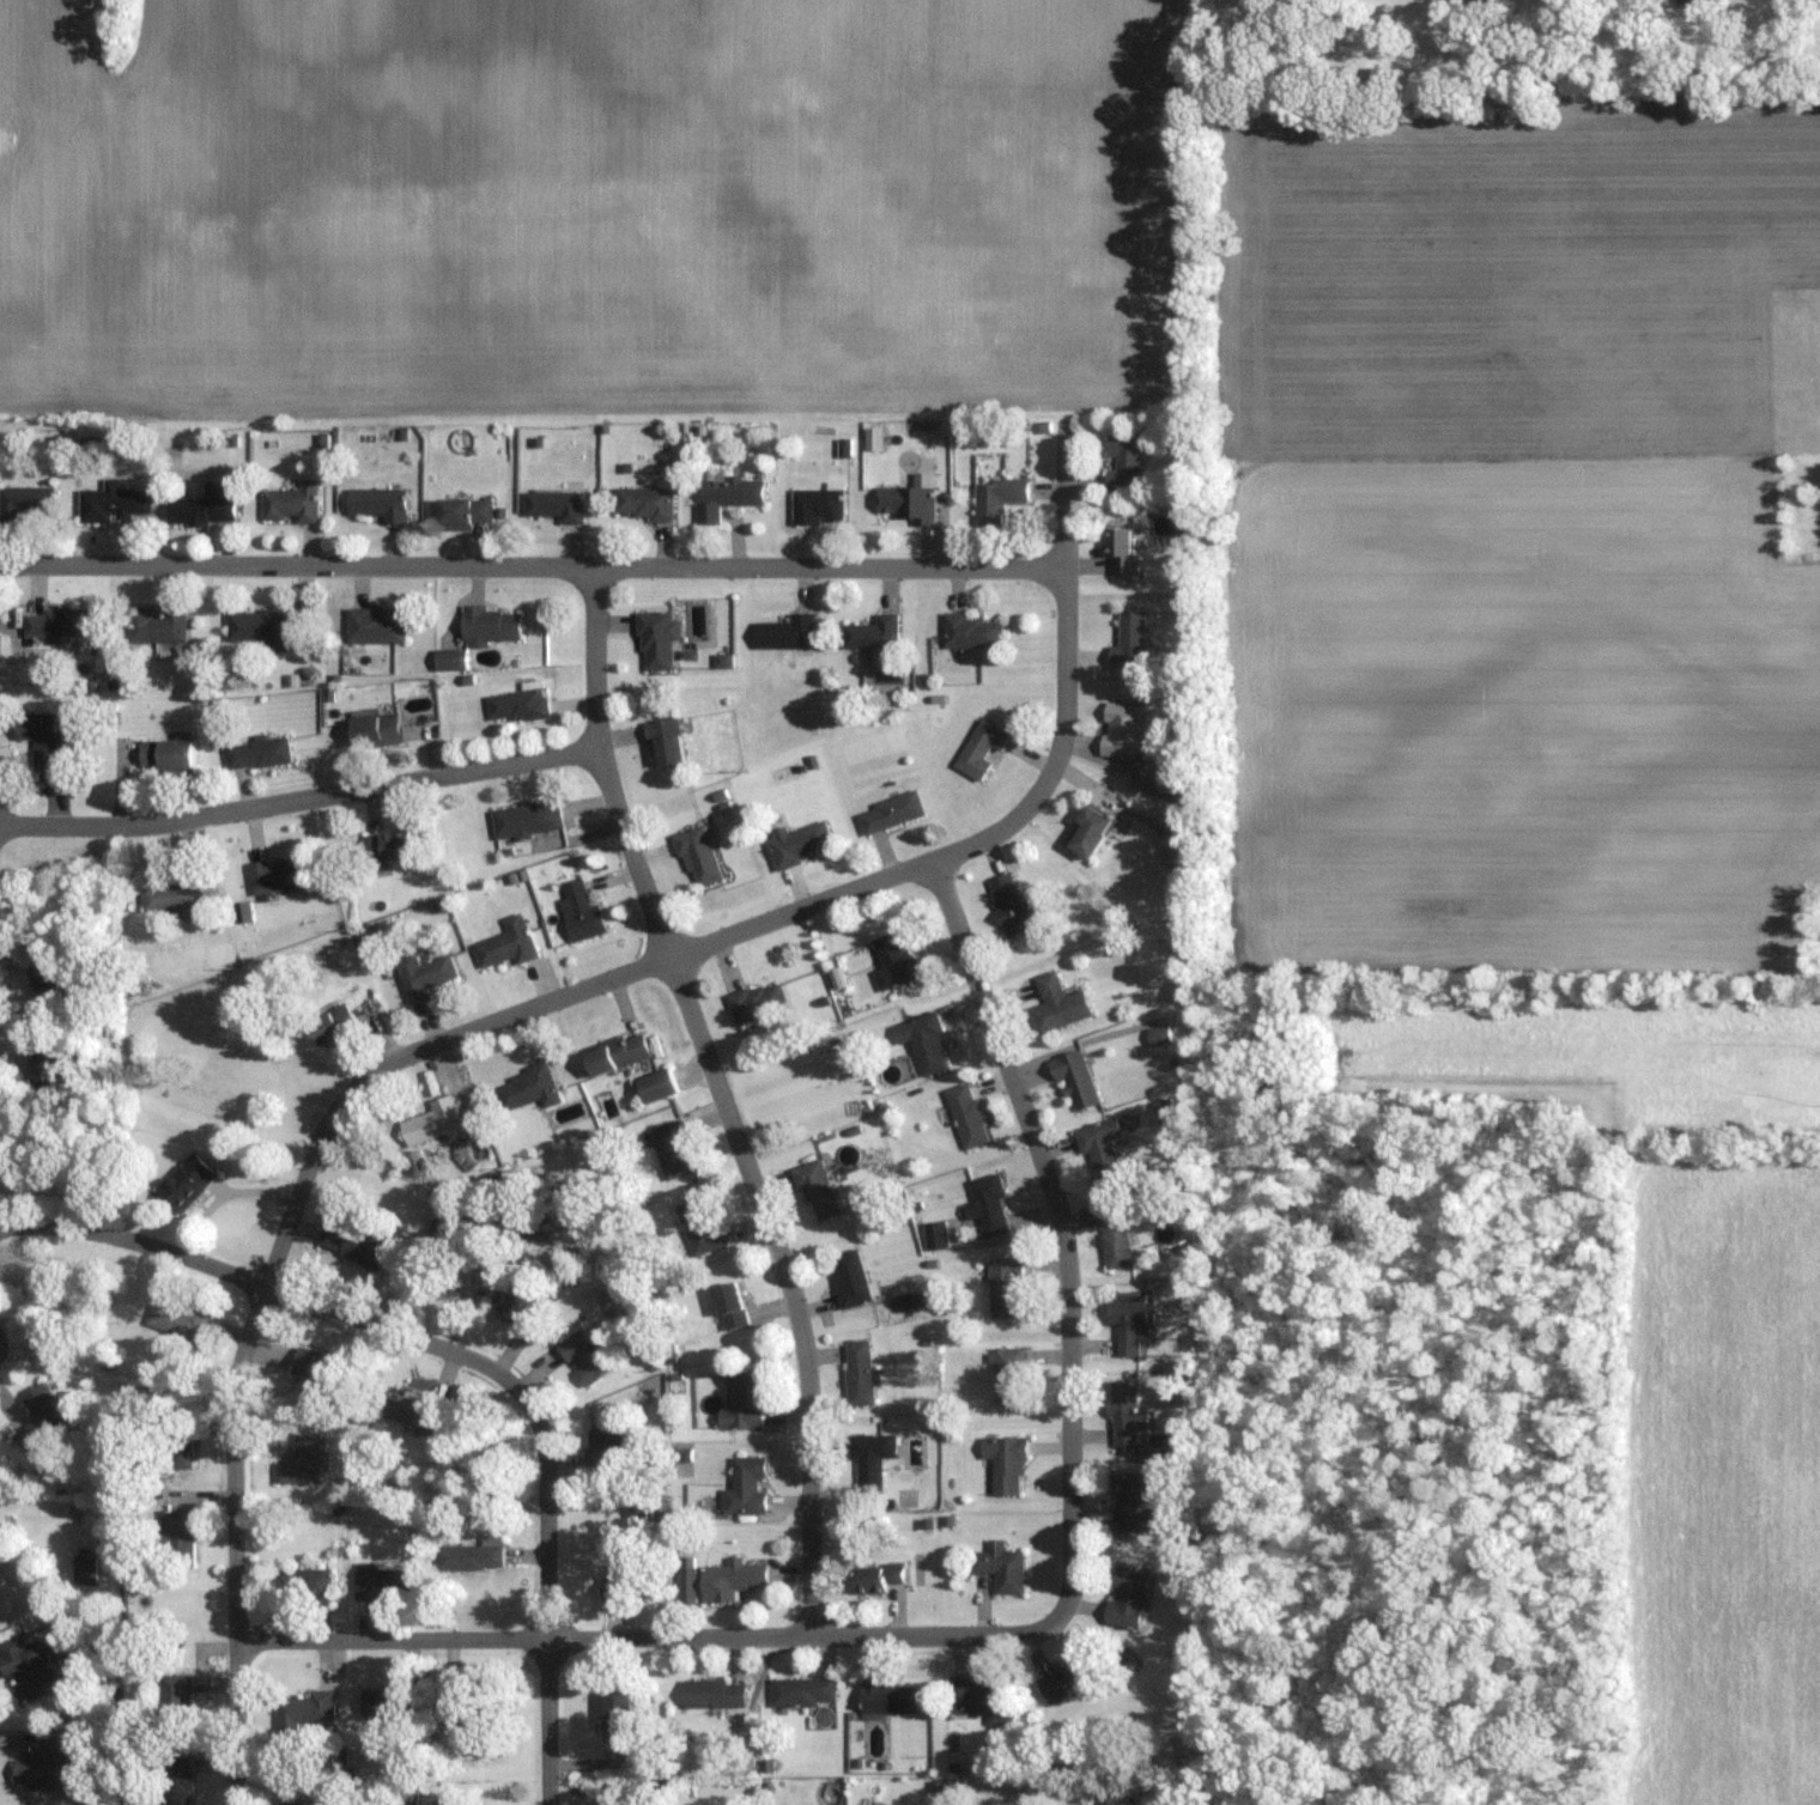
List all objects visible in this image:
building: (1123, 463)
building: (726, 494)
building: (996, 498)
building: (32, 503)
building: (119, 503)
building: (299, 503)
building: (644, 503)
building: (904, 503)
building: (387, 504)
building: (817, 505)
building: (557, 506)
building: (210, 510)
building: (473, 513)
building: (1121, 549)
road: (534, 564)
building: (62, 624)
building: (498, 626)
building: (163, 627)
building: (261, 627)
building: (382, 627)
building: (972, 632)
building: (785, 633)
building: (872, 633)
building: (656, 639)
building: (1129, 643)
building: (457, 660)
building: (526, 705)
building: (1120, 730)
building: (386, 731)
building: (665, 740)
building: (50, 747)
building: (981, 749)
building: (266, 753)
building: (176, 755)
road: (304, 798)
building: (890, 812)
building: (527, 819)
building: (1088, 833)
building: (795, 841)
building: (399, 847)
building: (696, 856)
building: (284, 875)
building: (182, 895)
building: (1009, 904)
building: (581, 910)
building: (508, 943)
building: (892, 960)
building: (424, 974)
building: (53, 984)
building: (757, 1001)
building: (1057, 1003)
road: (528, 1009)
building: (333, 1023)
building: (1158, 1034)
building: (923, 1040)
building: (617, 1052)
building: (57, 1065)
building: (1074, 1077)
building: (656, 1084)
building: (528, 1087)
road: (724, 1095)
building: (1164, 1110)
building: (966, 1113)
building: (432, 1120)
building: (1100, 1147)
building: (672, 1148)
building: (188, 1181)
building: (817, 1190)
building: (988, 1204)
building: (698, 1227)
building: (935, 1234)
building: (1115, 1235)
road: (1069, 1242)
building: (358, 1244)
building: (849, 1277)
building: (1005, 1288)
building: (516, 1303)
building: (730, 1305)
building: (1127, 1319)
building: (181, 1326)
road: (1, 1343)
road: (465, 1357)
building: (583, 1357)
building: (311, 1366)
building: (859, 1373)
building: (1008, 1375)
building: (740, 1403)
building: (412, 1410)
building: (1124, 1412)
building: (43, 1417)
building: (180, 1441)
building: (605, 1448)
building: (870, 1457)
building: (303, 1460)
building: (1005, 1461)
crop: (1725, 1481)
building: (746, 1485)
building: (1133, 1502)
building: (177, 1536)
building: (471, 1555)
building: (999, 1566)
building: (85, 1568)
building: (617, 1568)
building: (875, 1576)
building: (730, 1579)
building: (299, 1581)
building: (382, 1581)
building: (687, 1585)
building: (1127, 1597)
road: (635, 1637)
building: (28, 1666)
building: (1063, 1681)
building: (802, 1691)
building: (712, 1694)
building: (888, 1697)
building: (388, 1700)
building: (978, 1700)
building: (175, 1701)
building: (468, 1707)
building: (303, 1713)
building: (614, 1715)
building: (49, 1764)
building: (175, 1791)
building: (291, 1804)

